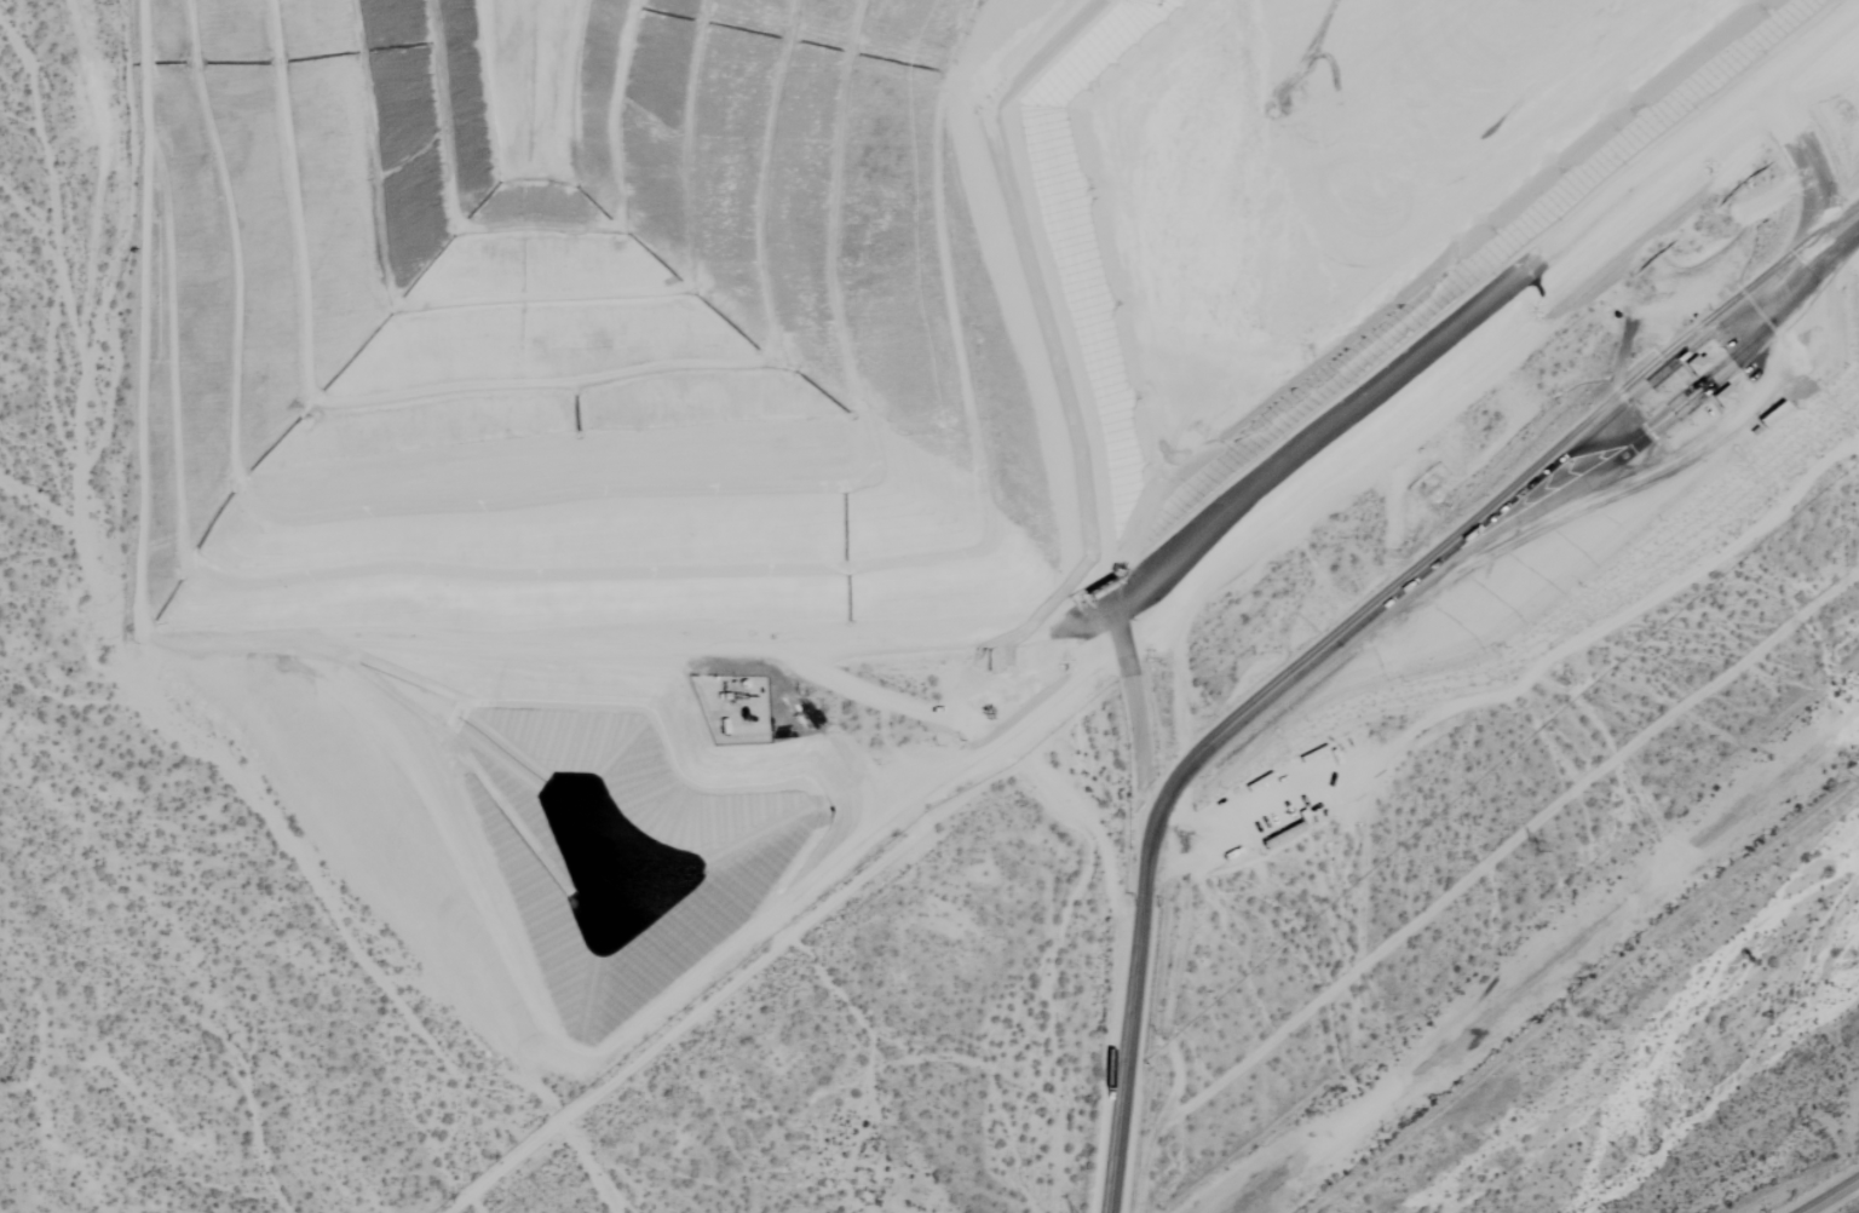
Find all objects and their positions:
building: (1692, 366)
building: (1720, 398)
road: (1389, 608)
power tower: (1524, 855)
road: (1834, 1197)

